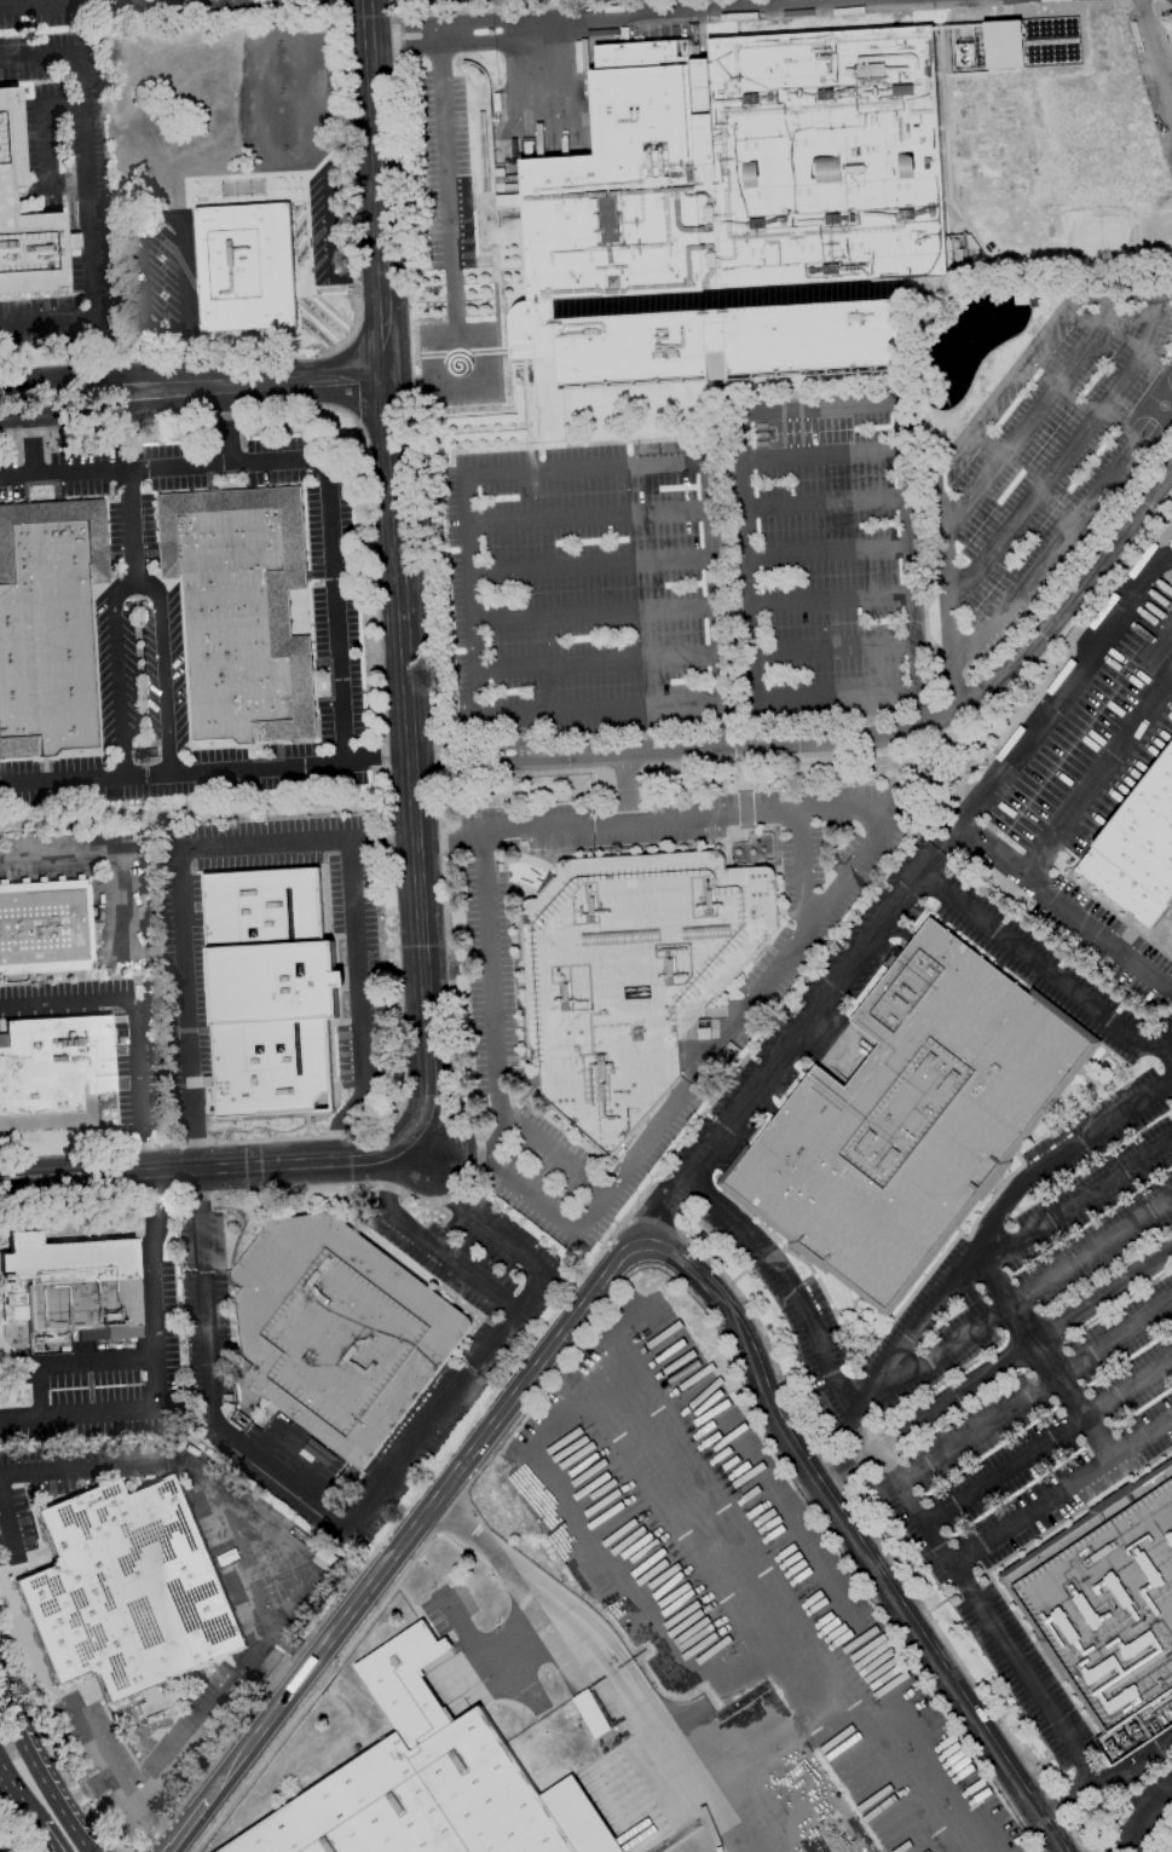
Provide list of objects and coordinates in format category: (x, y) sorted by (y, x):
road: (126, 4)
road: (206, 4)
road: (36, 6)
road: (728, 13)
road: (440, 24)
road: (435, 36)
building: (1136, 37)
building: (1001, 45)
road: (444, 46)
road: (1154, 63)
road: (46, 148)
road: (90, 190)
road: (445, 191)
building: (737, 213)
road: (155, 217)
building: (25, 219)
road: (327, 219)
building: (244, 267)
building: (1021, 298)
road: (477, 364)
road: (75, 376)
road: (266, 381)
road: (818, 409)
road: (1030, 412)
road: (77, 415)
road: (226, 423)
road: (15, 435)
road: (959, 438)
road: (30, 446)
road: (1066, 448)
road: (307, 461)
road: (679, 463)
road: (821, 507)
road: (587, 518)
road: (131, 521)
road: (825, 553)
road: (1045, 558)
road: (590, 570)
road: (397, 575)
road: (906, 587)
road: (468, 595)
road: (827, 600)
road: (747, 604)
road: (715, 605)
building: (239, 611)
road: (593, 617)
building: (47, 624)
road: (831, 653)
road: (595, 664)
road: (158, 668)
road: (119, 671)
road: (836, 697)
road: (1051, 703)
road: (599, 710)
road: (924, 723)
road: (524, 732)
road: (489, 745)
road: (412, 756)
road: (489, 761)
road: (203, 771)
road: (1098, 774)
road: (623, 789)
road: (867, 836)
road: (379, 837)
road: (262, 841)
building: (1137, 849)
road: (99, 860)
road: (928, 862)
road: (1058, 902)
building: (45, 928)
road: (779, 957)
road: (1046, 973)
building: (631, 975)
building: (267, 992)
road: (489, 996)
road: (132, 1025)
road: (1164, 1045)
road: (775, 1056)
building: (54, 1071)
building: (910, 1119)
road: (556, 1155)
road: (207, 1169)
road: (1079, 1201)
road: (991, 1222)
road: (428, 1244)
road: (631, 1271)
building: (69, 1283)
road: (1022, 1293)
road: (506, 1326)
building: (337, 1332)
road: (1043, 1350)
road: (70, 1363)
road: (157, 1365)
road: (992, 1366)
road: (206, 1384)
road: (1034, 1391)
road: (1049, 1441)
road: (186, 1465)
road: (1062, 1490)
road: (908, 1498)
road: (855, 1510)
road: (421, 1518)
road: (6, 1519)
road: (853, 1540)
building: (129, 1588)
building: (1105, 1599)
parking lot: (277, 1605)
road: (599, 1656)
road: (187, 1735)
road: (1133, 1762)
building: (421, 1773)
road: (40, 1775)
road: (18, 1793)
road: (1138, 1819)
road: (185, 1827)
road: (47, 1839)
road: (1127, 1845)
road: (114, 1847)

